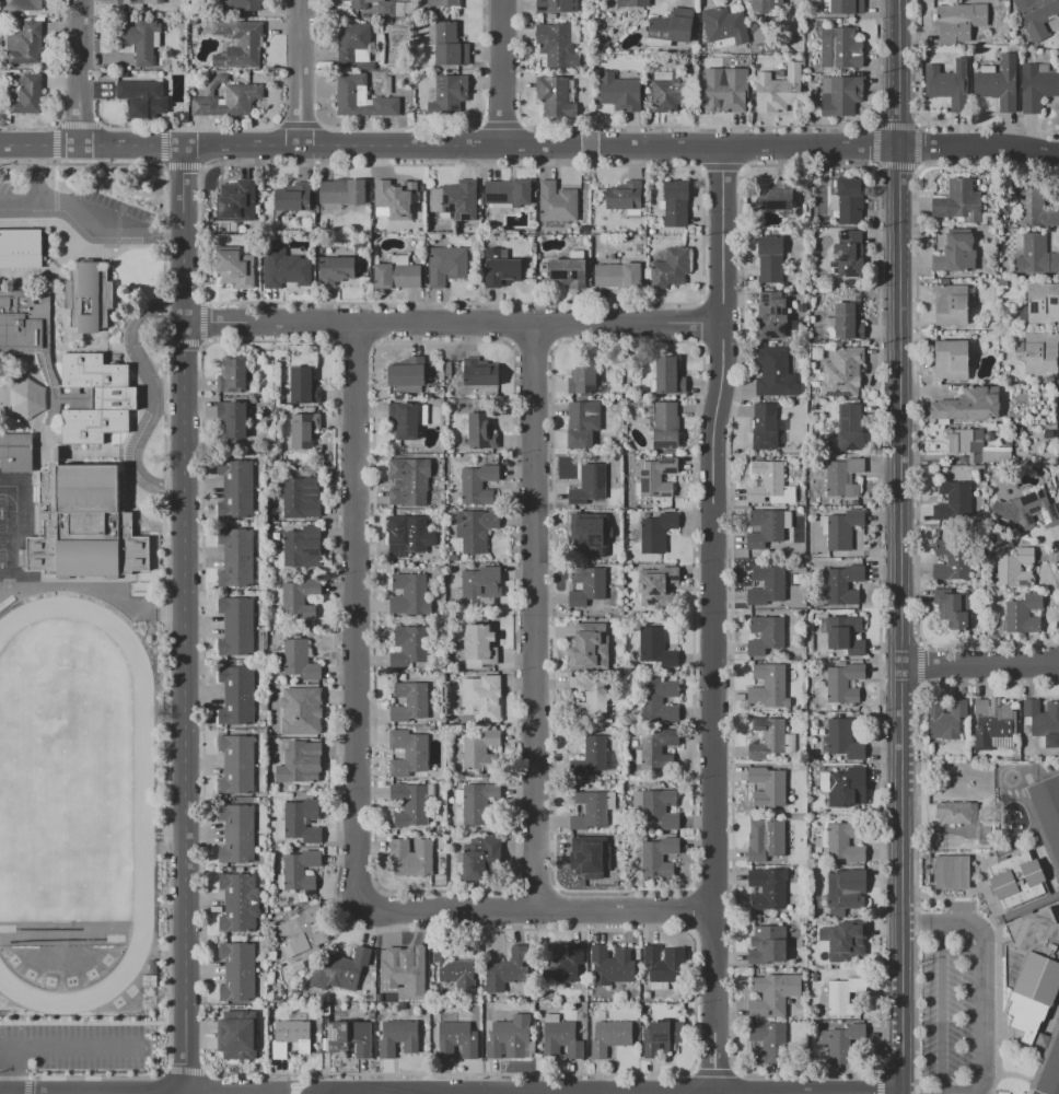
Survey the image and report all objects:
building: (141, 1)
building: (631, 2)
building: (443, 3)
building: (23, 4)
building: (241, 4)
building: (557, 5)
building: (766, 5)
building: (843, 5)
building: (383, 7)
building: (1035, 15)
building: (959, 21)
building: (671, 26)
building: (724, 26)
building: (141, 39)
building: (249, 42)
building: (24, 43)
building: (353, 44)
building: (446, 44)
building: (556, 44)
building: (840, 48)
road: (520, 60)
road: (915, 60)
road: (481, 61)
road: (875, 62)
road: (80, 73)
road: (302, 73)
road: (502, 73)
road: (897, 73)
building: (421, 74)
building: (997, 82)
building: (386, 84)
building: (947, 84)
building: (1037, 86)
building: (725, 89)
building: (779, 89)
building: (619, 91)
building: (672, 91)
building: (27, 95)
building: (841, 95)
building: (449, 96)
building: (555, 96)
building: (142, 97)
building: (226, 97)
building: (360, 97)
road: (298, 123)
road: (479, 123)
road: (522, 123)
road: (917, 123)
road: (77, 125)
road: (500, 125)
road: (895, 125)
road: (698, 126)
road: (397, 127)
road: (188, 129)
road: (55, 141)
road: (874, 144)
road: (917, 146)
road: (978, 147)
road: (19, 148)
road: (59, 148)
road: (132, 148)
road: (162, 148)
road: (540, 149)
road: (80, 163)
road: (454, 163)
road: (807, 164)
road: (895, 164)
road: (182, 165)
road: (203, 166)
road: (721, 166)
road: (872, 166)
road: (160, 167)
road: (743, 167)
road: (38, 173)
road: (55, 173)
building: (342, 190)
building: (507, 193)
building: (625, 195)
building: (775, 196)
building: (293, 197)
parking lot: (7, 199)
road: (20, 199)
building: (392, 199)
building: (455, 199)
building: (849, 199)
building: (235, 201)
building: (958, 201)
building: (558, 202)
building: (675, 202)
road: (55, 203)
building: (1034, 205)
road: (110, 223)
road: (117, 228)
road: (201, 233)
road: (185, 234)
road: (77, 243)
building: (20, 248)
building: (849, 254)
building: (955, 254)
building: (1036, 255)
flagpole: (103, 258)
building: (770, 259)
building: (446, 264)
building: (234, 267)
building: (339, 268)
building: (500, 268)
building: (671, 268)
building: (284, 269)
building: (568, 271)
building: (397, 272)
building: (618, 275)
building: (945, 281)
building: (1003, 282)
building: (88, 296)
road: (206, 302)
building: (953, 303)
building: (1040, 304)
building: (770, 314)
road: (453, 321)
building: (848, 322)
road: (201, 323)
road: (165, 342)
road: (185, 342)
road: (202, 344)
building: (1020, 345)
building: (1041, 353)
building: (951, 360)
building: (68, 371)
building: (406, 371)
building: (478, 371)
building: (842, 371)
building: (232, 373)
building: (667, 375)
building: (582, 376)
building: (775, 379)
building: (302, 384)
building: (1058, 391)
road: (141, 398)
road: (153, 399)
building: (966, 405)
building: (1058, 414)
building: (233, 417)
building: (407, 418)
building: (1005, 420)
building: (582, 423)
building: (665, 424)
building: (765, 426)
building: (849, 427)
building: (303, 428)
building: (480, 430)
building: (1019, 430)
building: (999, 433)
building: (1048, 434)
building: (989, 435)
building: (976, 446)
building: (16, 451)
building: (656, 477)
building: (842, 477)
building: (408, 481)
building: (477, 482)
building: (590, 484)
building: (770, 484)
building: (235, 487)
building: (300, 493)
park: (8, 498)
building: (954, 501)
building: (1029, 510)
building: (83, 523)
building: (767, 526)
building: (474, 528)
building: (840, 528)
building: (656, 531)
building: (593, 534)
building: (412, 536)
park: (7, 539)
building: (302, 545)
building: (235, 556)
building: (21, 557)
building: (952, 560)
building: (799, 563)
building: (1013, 569)
building: (843, 584)
park: (8, 585)
building: (477, 585)
building: (587, 585)
building: (656, 585)
building: (767, 585)
building: (409, 592)
building: (299, 597)
building: (953, 607)
road: (537, 614)
building: (1023, 614)
road: (360, 616)
road: (163, 618)
road: (713, 620)
road: (900, 620)
building: (237, 626)
building: (843, 633)
building: (765, 635)
building: (410, 644)
building: (478, 644)
building: (589, 647)
building: (655, 647)
building: (298, 660)
road: (980, 665)
building: (767, 684)
building: (840, 684)
building: (236, 694)
building: (480, 695)
building: (590, 695)
building: (410, 700)
building: (659, 700)
road: (201, 706)
road: (187, 708)
building: (301, 710)
building: (945, 719)
building: (992, 722)
building: (1043, 722)
building: (770, 738)
building: (843, 740)
building: (480, 748)
building: (657, 748)
building: (407, 750)
building: (592, 757)
building: (301, 761)
building: (236, 763)
park: (1010, 777)
building: (767, 785)
building: (847, 788)
building: (455, 792)
building: (290, 795)
park: (62, 798)
park: (59, 799)
building: (410, 801)
track: (142, 803)
building: (478, 803)
building: (657, 806)
building: (592, 808)
building: (1047, 811)
building: (964, 817)
building: (299, 821)
building: (236, 831)
building: (1040, 834)
building: (765, 839)
building: (845, 841)
building: (926, 854)
building: (410, 856)
building: (479, 857)
building: (657, 857)
building: (587, 860)
building: (298, 870)
building: (951, 872)
road: (1045, 873)
building: (1017, 878)
building: (766, 891)
building: (846, 891)
road: (951, 897)
building: (238, 900)
road: (1026, 906)
road: (538, 909)
building: (302, 933)
building: (846, 941)
building: (767, 944)
building: (612, 964)
building: (563, 965)
building: (665, 965)
building: (453, 966)
building: (405, 968)
road: (997, 968)
building: (341, 969)
building: (507, 969)
building: (237, 970)
road: (985, 970)
building: (1032, 970)
building: (813, 977)
building: (647, 994)
building: (843, 996)
building: (767, 998)
road: (940, 1009)
parking lot: (946, 1010)
road: (84, 1023)
building: (236, 1034)
road: (1041, 1034)
building: (290, 1036)
building: (350, 1036)
building: (398, 1036)
building: (609, 1036)
building: (509, 1037)
building: (560, 1037)
building: (663, 1037)
building: (458, 1038)
building: (841, 1041)
building: (768, 1043)
building: (1044, 1054)
parking lot: (79, 1059)
road: (78, 1063)
road: (184, 1068)
road: (203, 1068)
building: (1050, 1070)
road: (1022, 1075)
road: (4, 1076)
road: (84, 1076)
road: (26, 1085)
road: (293, 1089)

